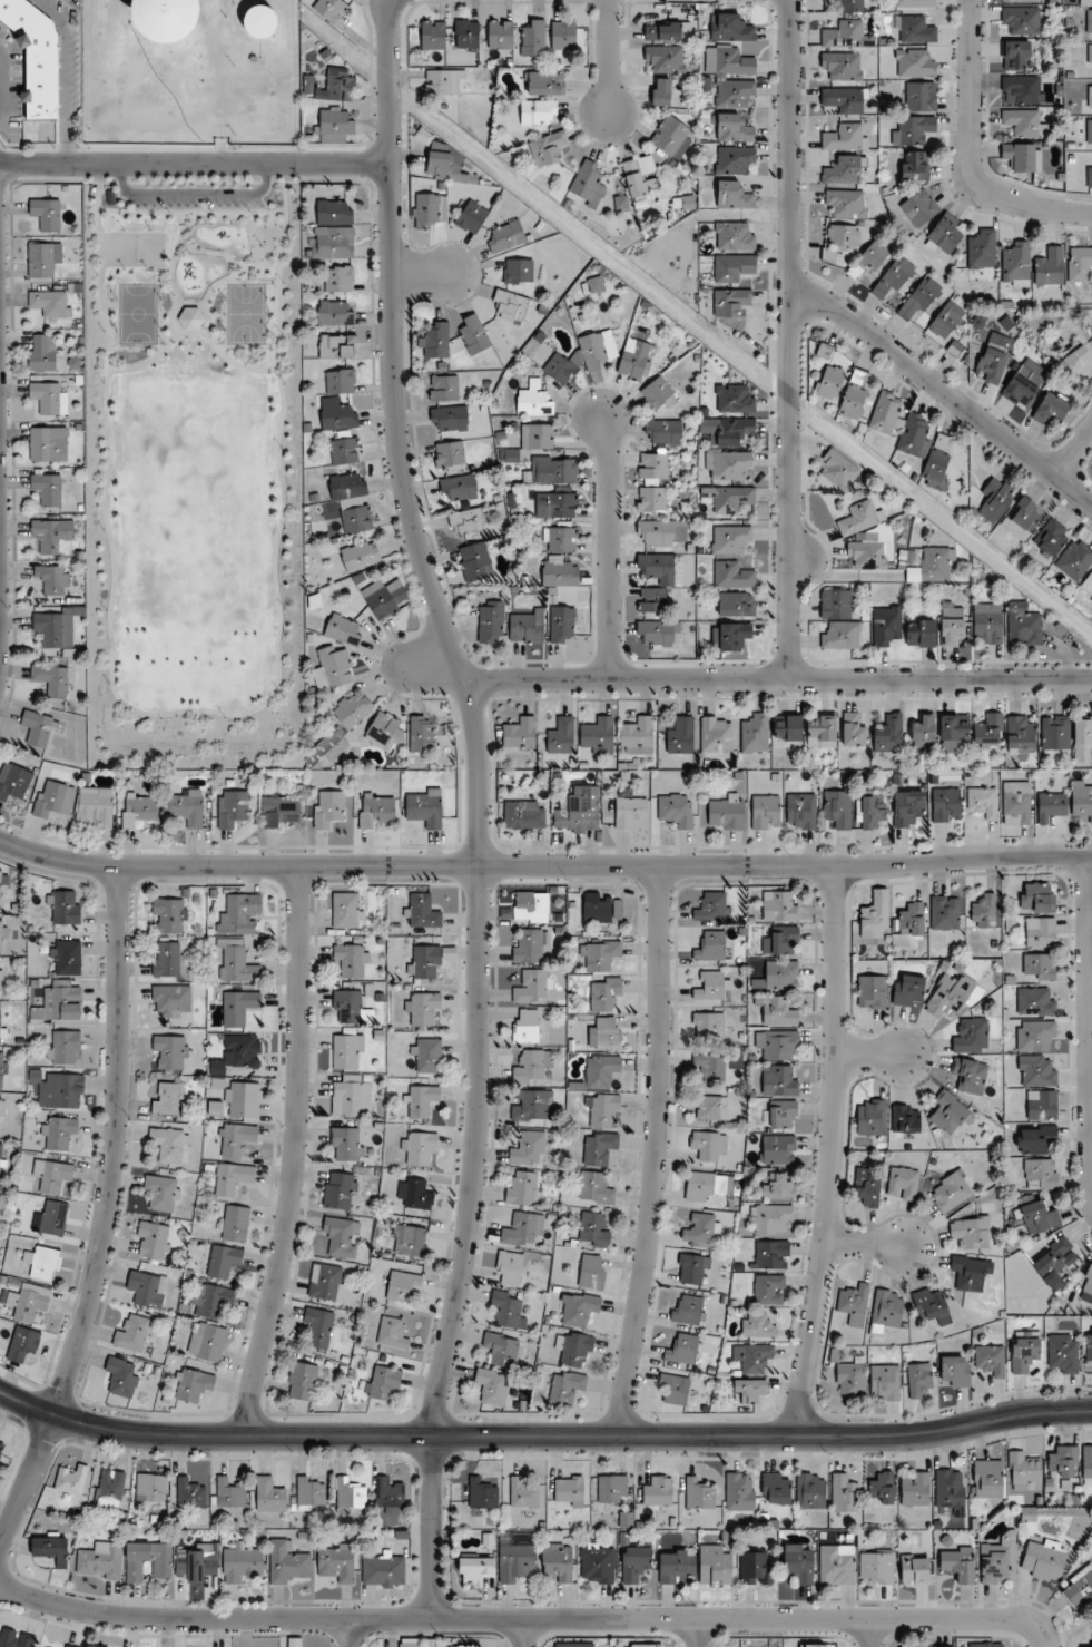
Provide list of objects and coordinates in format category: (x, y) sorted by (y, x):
building: (915, 2)
building: (849, 6)
building: (332, 9)
building: (168, 19)
building: (1022, 19)
building: (260, 21)
building: (1089, 22)
building: (730, 27)
building: (914, 29)
building: (662, 30)
building: (468, 33)
building: (501, 33)
building: (435, 35)
building: (564, 35)
building: (847, 35)
building: (533, 37)
building: (1090, 52)
building: (1016, 55)
building: (36, 56)
road: (610, 56)
building: (665, 58)
building: (728, 60)
building: (915, 62)
building: (842, 65)
building: (440, 81)
building: (545, 82)
building: (340, 84)
building: (1023, 87)
building: (661, 91)
building: (735, 91)
building: (921, 95)
building: (1090, 95)
building: (844, 99)
building: (539, 111)
building: (1025, 121)
building: (334, 124)
building: (734, 128)
building: (913, 129)
building: (1089, 133)
building: (672, 136)
building: (846, 136)
building: (549, 147)
road: (971, 154)
building: (1023, 155)
building: (735, 159)
road: (195, 164)
building: (915, 165)
building: (449, 167)
building: (842, 170)
building: (638, 178)
road: (199, 183)
building: (588, 184)
road: (193, 192)
building: (734, 195)
parking lot: (195, 202)
road: (252, 203)
building: (846, 203)
building: (919, 207)
building: (430, 208)
building: (46, 213)
road: (190, 213)
building: (472, 217)
building: (333, 229)
building: (946, 233)
building: (735, 235)
building: (843, 235)
building: (506, 236)
road: (254, 238)
park: (137, 248)
building: (982, 248)
road: (214, 253)
road: (226, 253)
road: (211, 254)
road: (174, 257)
building: (43, 258)
building: (1080, 263)
building: (1016, 264)
building: (1050, 265)
building: (734, 267)
road: (160, 268)
building: (519, 269)
road: (421, 272)
road: (235, 274)
building: (894, 276)
building: (338, 277)
road: (249, 282)
building: (918, 298)
building: (730, 302)
building: (51, 303)
building: (511, 303)
building: (336, 312)
park: (246, 314)
park: (140, 315)
building: (946, 320)
building: (474, 334)
road: (197, 337)
building: (434, 340)
road: (790, 340)
road: (247, 346)
building: (337, 346)
building: (598, 347)
building: (42, 352)
building: (636, 357)
building: (1079, 361)
road: (148, 363)
building: (991, 363)
road: (235, 364)
building: (560, 367)
road: (927, 376)
building: (340, 380)
building: (830, 381)
building: (1024, 383)
building: (443, 386)
building: (658, 393)
building: (48, 398)
building: (735, 398)
building: (854, 399)
building: (534, 400)
building: (1050, 409)
building: (886, 412)
building: (337, 413)
building: (450, 418)
building: (727, 430)
building: (663, 431)
building: (915, 433)
building: (538, 435)
building: (43, 442)
building: (344, 449)
building: (450, 453)
road: (1072, 453)
building: (936, 462)
building: (731, 463)
building: (652, 468)
building: (554, 469)
park: (194, 470)
building: (838, 470)
building: (347, 486)
building: (460, 487)
building: (47, 488)
road: (1072, 492)
building: (652, 498)
building: (729, 498)
building: (996, 498)
building: (555, 504)
building: (1024, 512)
building: (860, 517)
building: (356, 519)
building: (466, 521)
building: (662, 531)
building: (53, 536)
building: (560, 538)
building: (730, 538)
building: (1051, 538)
road: (610, 548)
building: (869, 553)
building: (361, 555)
building: (1075, 559)
building: (475, 561)
building: (934, 565)
building: (559, 572)
building: (732, 575)
building: (53, 578)
building: (667, 580)
building: (1088, 584)
building: (385, 597)
building: (736, 604)
building: (835, 604)
building: (491, 621)
building: (987, 622)
building: (562, 624)
building: (886, 624)
building: (1024, 624)
building: (527, 625)
building: (57, 626)
building: (951, 626)
building: (344, 629)
building: (657, 633)
building: (921, 633)
building: (840, 634)
building: (734, 636)
road: (432, 663)
building: (335, 666)
building: (51, 679)
road: (779, 680)
building: (352, 709)
road: (193, 710)
building: (39, 727)
building: (787, 727)
building: (820, 731)
building: (853, 731)
building: (988, 731)
building: (384, 732)
building: (521, 732)
building: (755, 732)
building: (953, 732)
building: (1055, 732)
building: (423, 733)
building: (1020, 733)
building: (599, 734)
building: (716, 734)
building: (924, 734)
building: (561, 735)
building: (637, 735)
building: (681, 735)
building: (888, 736)
building: (1083, 738)
building: (14, 782)
building: (53, 798)
building: (984, 801)
building: (1082, 801)
building: (1016, 802)
building: (946, 804)
road: (481, 805)
building: (1051, 805)
building: (186, 806)
building: (907, 806)
building: (95, 807)
building: (232, 807)
building: (327, 807)
building: (425, 807)
building: (838, 807)
building: (139, 808)
building: (375, 808)
building: (281, 810)
building: (579, 810)
building: (677, 810)
building: (630, 811)
building: (727, 811)
building: (766, 811)
building: (800, 811)
building: (873, 812)
building: (524, 814)
road: (59, 857)
road: (607, 865)
building: (3, 885)
building: (1037, 898)
building: (779, 905)
building: (63, 906)
building: (531, 906)
building: (597, 906)
building: (714, 906)
building: (347, 910)
building: (423, 911)
building: (985, 911)
building: (945, 912)
building: (240, 913)
building: (874, 914)
building: (169, 915)
building: (909, 922)
building: (1041, 932)
building: (2, 935)
building: (781, 940)
building: (529, 945)
building: (710, 947)
building: (599, 954)
building: (67, 957)
building: (169, 958)
building: (352, 959)
building: (424, 961)
building: (237, 964)
building: (1039, 965)
building: (781, 974)
building: (712, 986)
building: (531, 987)
building: (872, 991)
building: (604, 992)
building: (953, 996)
building: (1036, 1000)
building: (59, 1002)
building: (173, 1002)
building: (350, 1006)
building: (238, 1007)
building: (422, 1007)
building: (778, 1011)
road: (1090, 1023)
building: (2, 1025)
building: (525, 1025)
building: (709, 1025)
building: (608, 1032)
building: (1035, 1035)
building: (972, 1036)
building: (778, 1043)
building: (65, 1046)
building: (348, 1050)
building: (170, 1051)
building: (238, 1052)
building: (427, 1055)
road: (872, 1056)
building: (532, 1067)
building: (711, 1067)
building: (2, 1068)
building: (601, 1070)
building: (1036, 1070)
building: (971, 1075)
building: (779, 1080)
building: (62, 1089)
building: (351, 1095)
building: (166, 1098)
building: (244, 1099)
building: (421, 1100)
building: (532, 1104)
building: (1042, 1105)
building: (711, 1108)
building: (603, 1110)
building: (950, 1112)
building: (1, 1114)
building: (783, 1114)
building: (872, 1116)
building: (906, 1118)
building: (58, 1131)
building: (1035, 1138)
building: (236, 1139)
building: (347, 1143)
building: (171, 1144)
building: (706, 1145)
building: (417, 1147)
building: (599, 1147)
building: (529, 1148)
building: (778, 1150)
road: (658, 1151)
road: (834, 1151)
road: (296, 1153)
building: (2, 1159)
building: (1041, 1174)
building: (52, 1175)
building: (233, 1178)
building: (903, 1183)
building: (707, 1185)
building: (777, 1185)
building: (867, 1185)
building: (521, 1187)
building: (596, 1187)
building: (340, 1189)
building: (952, 1190)
building: (164, 1192)
building: (414, 1193)
building: (1040, 1216)
building: (52, 1217)
road: (107, 1217)
building: (774, 1218)
building: (235, 1223)
building: (523, 1228)
building: (593, 1229)
building: (700, 1231)
building: (971, 1232)
building: (341, 1236)
building: (409, 1239)
building: (154, 1241)
road: (867, 1243)
building: (770, 1254)
building: (224, 1261)
building: (1055, 1262)
building: (45, 1263)
building: (510, 1267)
building: (693, 1268)
building: (592, 1271)
building: (970, 1272)
building: (326, 1282)
building: (402, 1284)
building: (1088, 1284)
building: (147, 1288)
building: (769, 1288)
building: (211, 1300)
building: (27, 1303)
building: (855, 1304)
building: (508, 1307)
building: (578, 1308)
building: (687, 1308)
building: (886, 1311)
building: (757, 1324)
building: (319, 1326)
building: (392, 1333)
building: (134, 1334)
building: (207, 1341)
building: (23, 1345)
building: (1089, 1345)
building: (502, 1349)
building: (683, 1349)
building: (574, 1350)
building: (1024, 1352)
building: (1063, 1352)
building: (752, 1356)
building: (991, 1359)
building: (955, 1371)
building: (121, 1375)
building: (850, 1379)
building: (918, 1379)
building: (302, 1381)
building: (385, 1381)
building: (885, 1381)
building: (193, 1384)
building: (493, 1385)
building: (568, 1385)
building: (676, 1388)
building: (750, 1388)
road: (543, 1437)
building: (2, 1445)
building: (1063, 1462)
building: (1086, 1462)
building: (1024, 1471)
building: (988, 1478)
building: (72, 1479)
building: (150, 1487)
building: (883, 1487)
building: (915, 1487)
building: (612, 1488)
building: (109, 1489)
building: (776, 1489)
building: (951, 1489)
building: (569, 1490)
building: (740, 1490)
building: (810, 1490)
building: (659, 1491)
building: (309, 1492)
building: (523, 1492)
building: (189, 1493)
building: (229, 1493)
building: (482, 1493)
building: (844, 1493)
building: (269, 1494)
building: (388, 1496)
building: (348, 1497)
building: (699, 1497)
building: (51, 1548)
building: (1044, 1559)
building: (100, 1560)
building: (148, 1560)
building: (1000, 1560)
building: (336, 1561)
building: (515, 1561)
building: (558, 1561)
building: (799, 1561)
building: (242, 1562)
building: (288, 1562)
building: (598, 1562)
building: (636, 1562)
building: (958, 1562)
building: (196, 1563)
building: (676, 1563)
building: (836, 1563)
building: (715, 1565)
building: (876, 1567)
building: (384, 1568)
building: (756, 1568)
building: (914, 1568)
building: (475, 1569)
building: (1079, 1588)
road: (528, 1619)
road: (351, 1633)
road: (699, 1633)
road: (874, 1633)
road: (528, 1634)
building: (16, 1638)
building: (412, 1643)
building: (984, 1644)
building: (574, 1645)
building: (645, 1645)
building: (818, 1645)
building: (1086, 1645)
building: (65, 1646)
building: (464, 1646)
building: (931, 1646)

